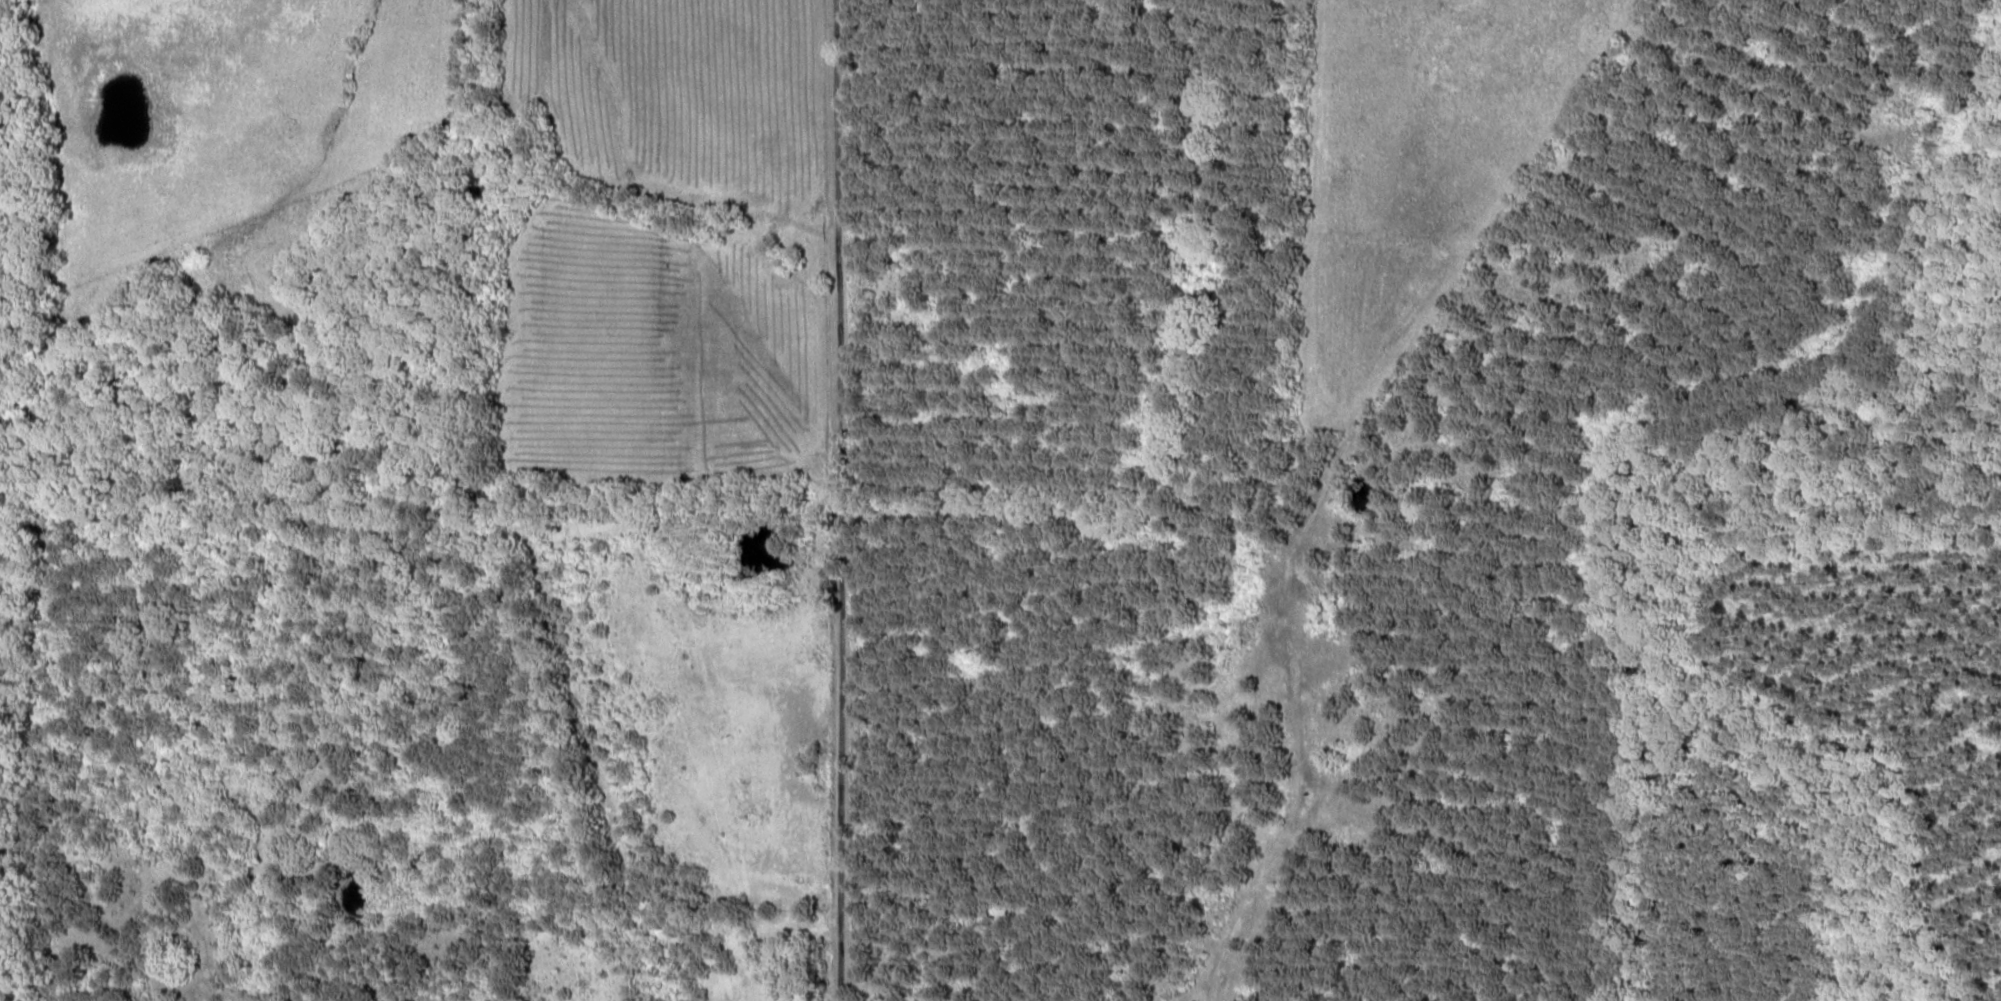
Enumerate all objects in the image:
road: (848, 500)

